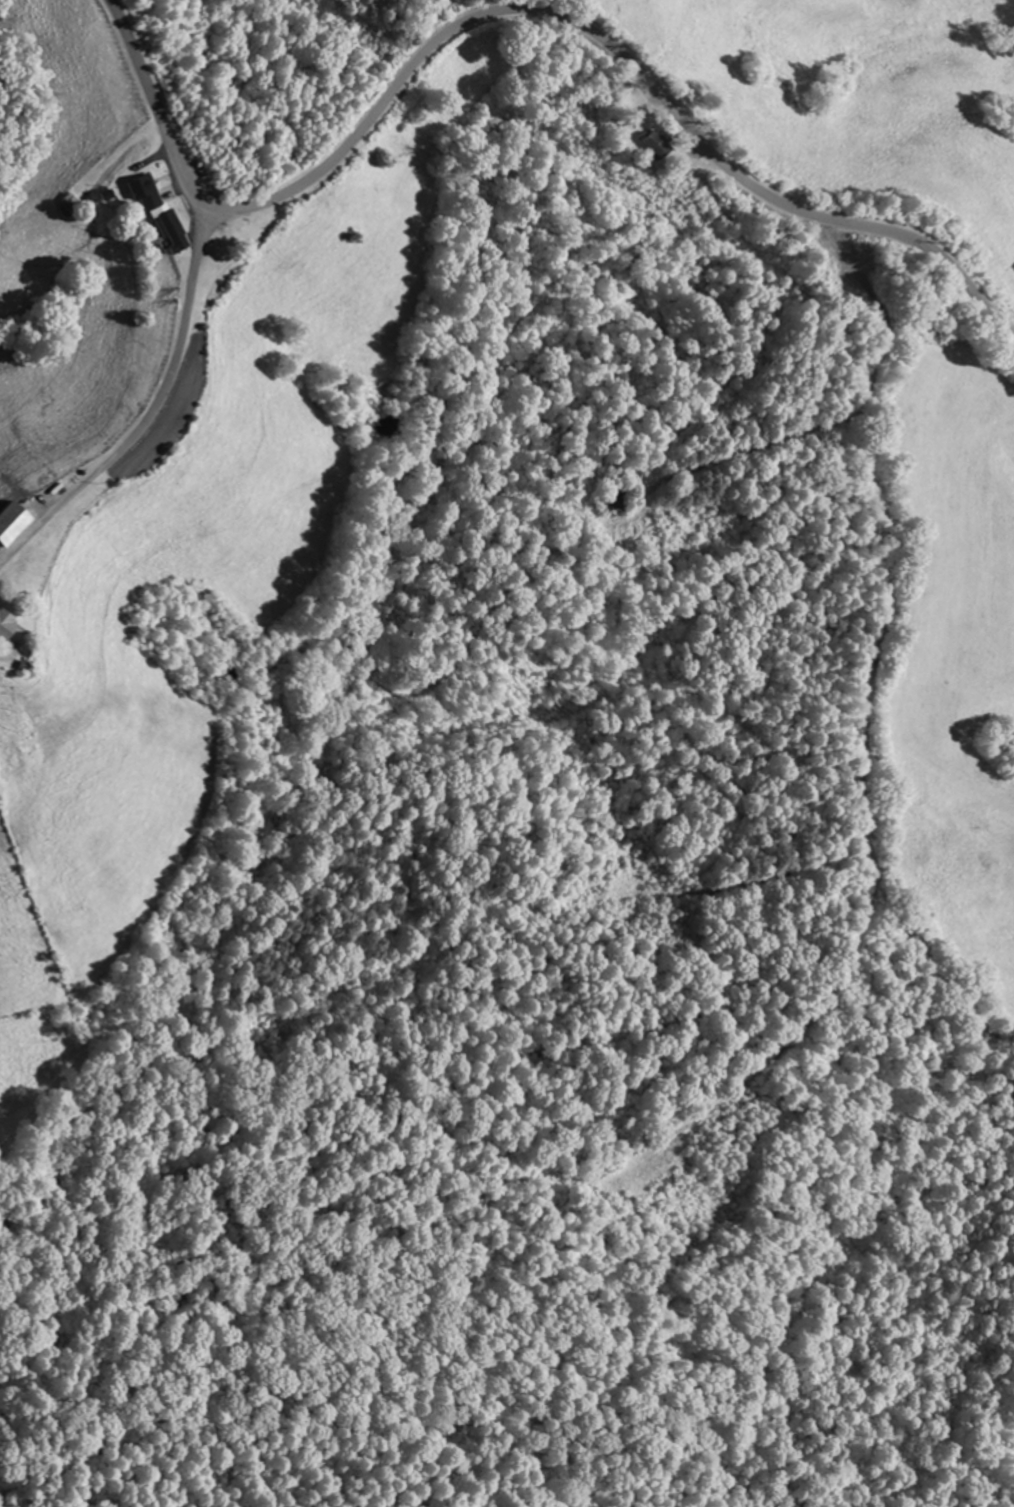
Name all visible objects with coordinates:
road: (518, 11)
building: (653, 146)
building: (70, 205)
building: (156, 215)
road: (153, 414)
building: (615, 499)
building: (9, 521)
building: (3, 625)

